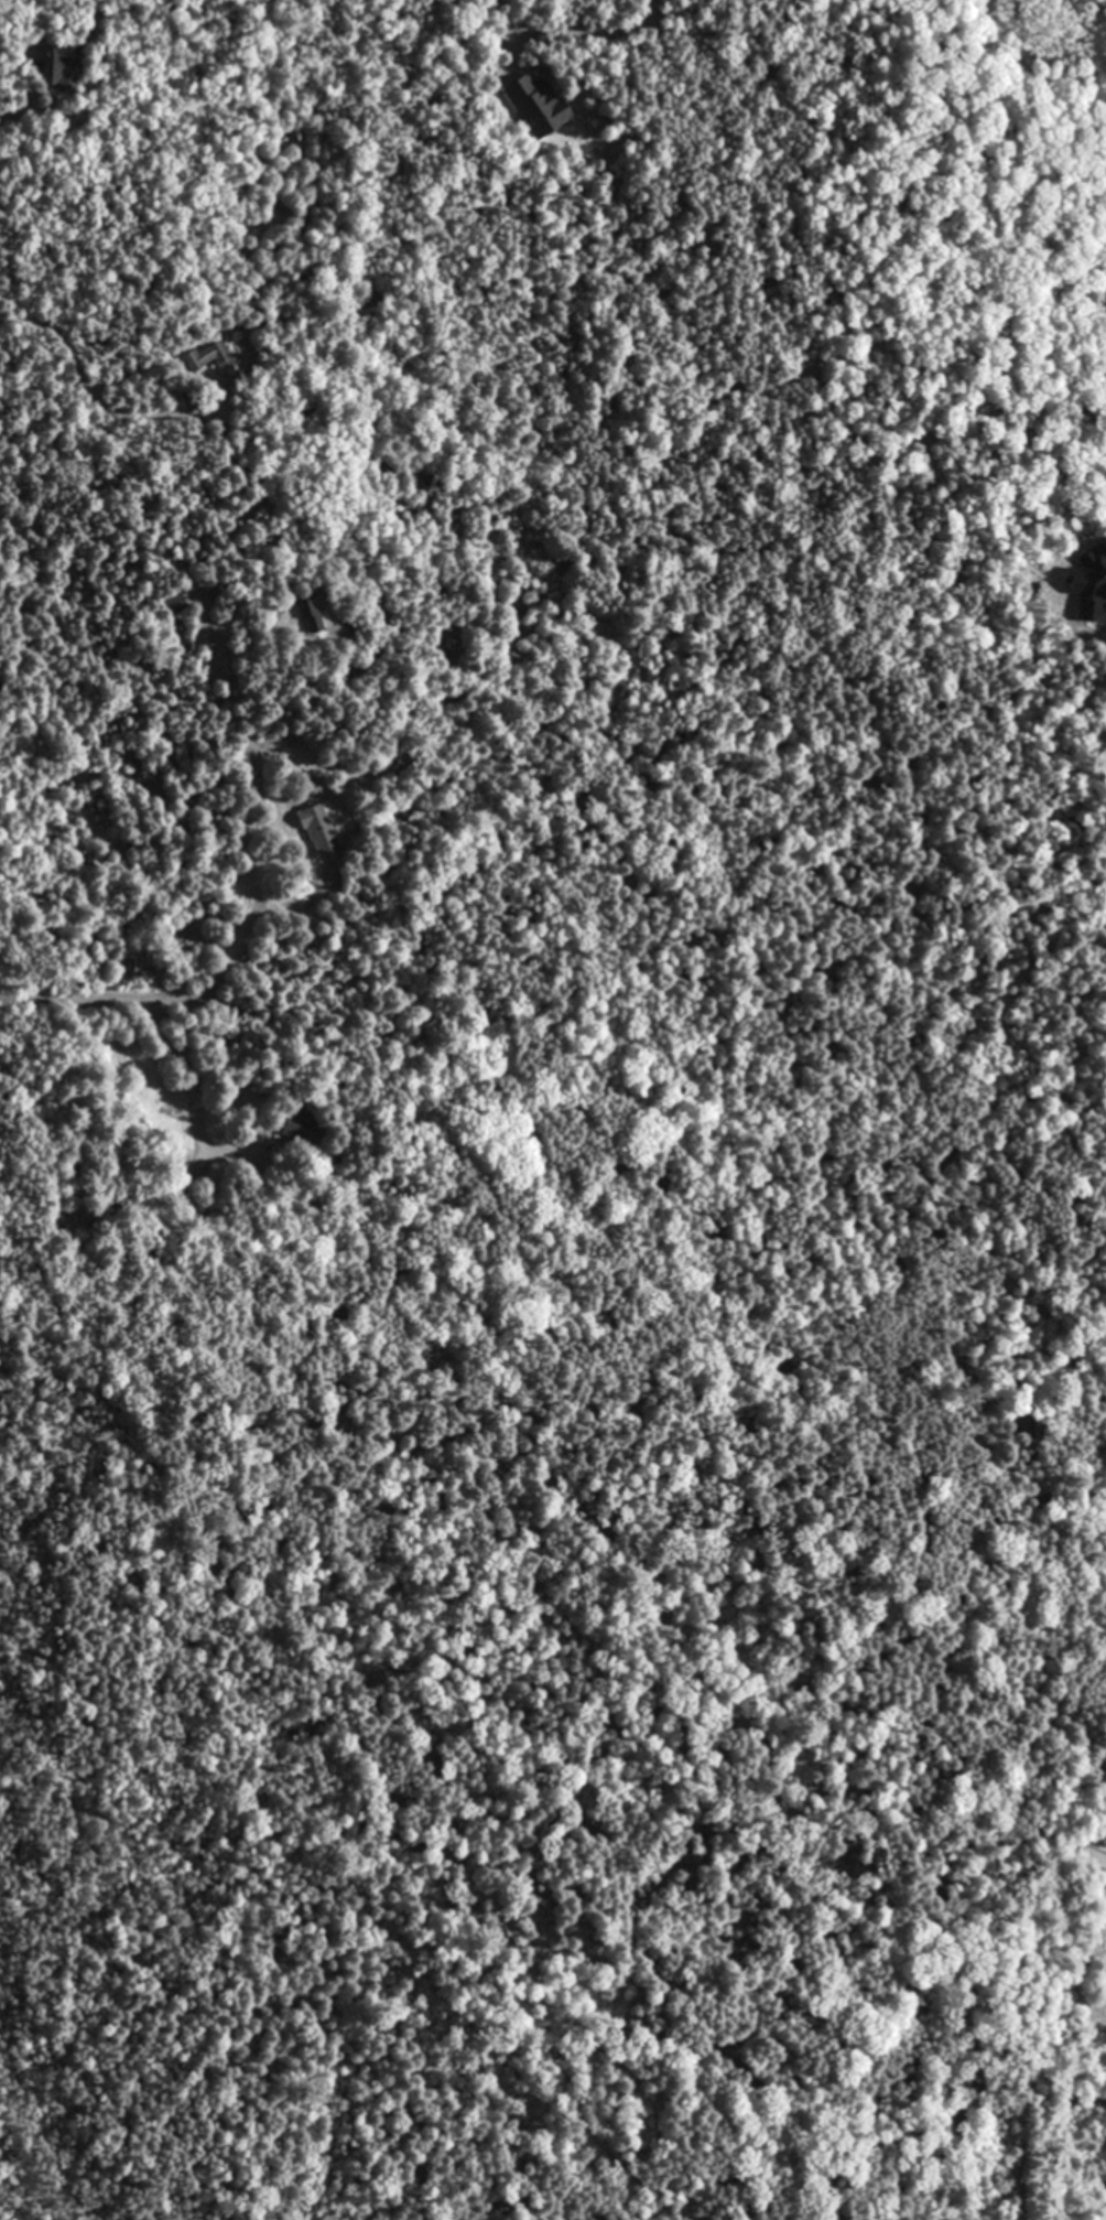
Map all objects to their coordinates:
road: (593, 31)
building: (64, 68)
building: (534, 103)
road: (12, 116)
building: (212, 357)
road: (79, 380)
road: (89, 579)
building: (315, 825)
road: (207, 1000)
road: (75, 1001)

